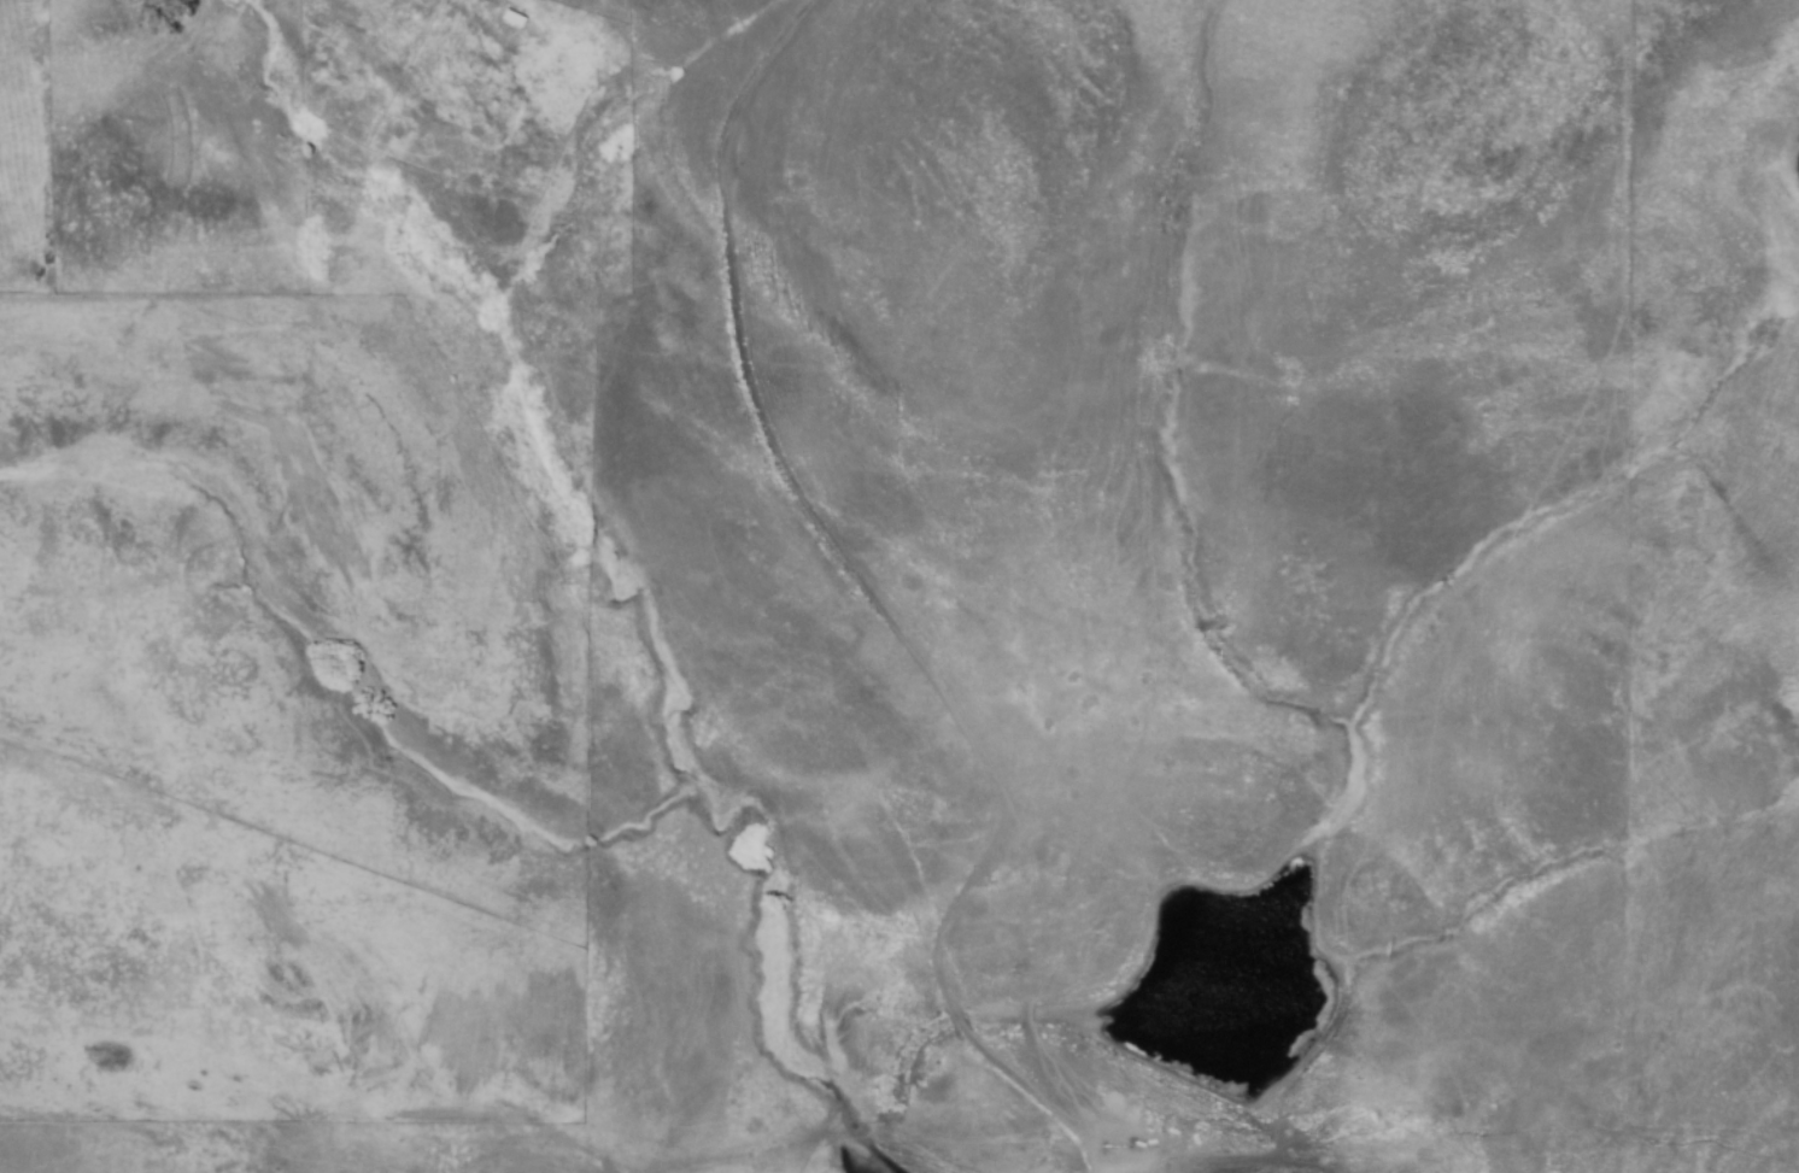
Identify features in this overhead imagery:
building: (512, 20)

